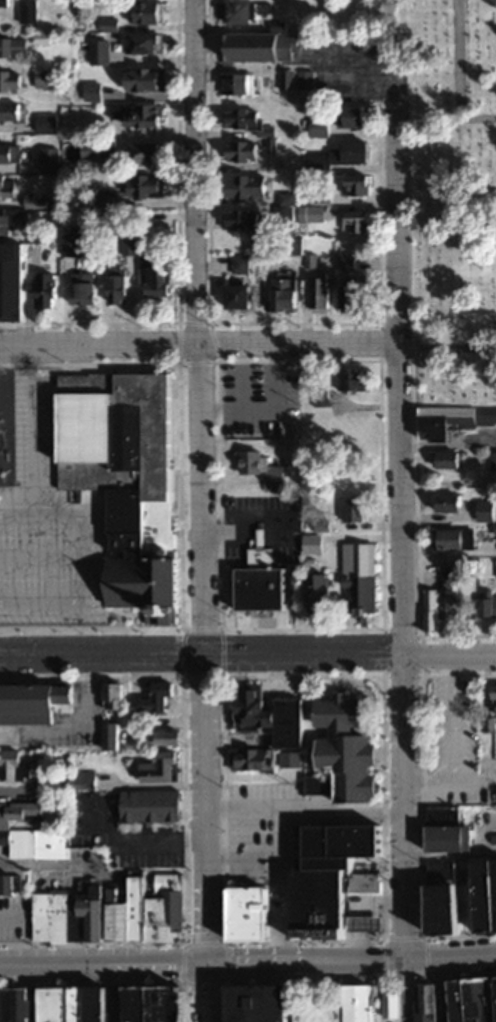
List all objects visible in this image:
building: (6, 2)
building: (29, 10)
building: (150, 11)
building: (239, 11)
building: (108, 24)
building: (144, 43)
building: (261, 45)
building: (14, 46)
building: (97, 52)
building: (45, 77)
building: (147, 79)
building: (286, 79)
building: (305, 79)
building: (12, 80)
building: (235, 83)
building: (91, 91)
building: (12, 110)
building: (138, 113)
building: (352, 115)
building: (250, 122)
building: (45, 123)
building: (318, 127)
building: (89, 149)
building: (243, 150)
building: (149, 151)
building: (10, 153)
building: (340, 155)
building: (35, 167)
building: (7, 184)
building: (248, 184)
building: (357, 184)
building: (147, 185)
building: (313, 196)
building: (36, 199)
park: (451, 200)
building: (286, 210)
building: (310, 213)
building: (244, 218)
building: (7, 221)
building: (356, 221)
building: (127, 237)
building: (71, 244)
building: (292, 245)
building: (147, 251)
building: (310, 259)
building: (346, 260)
building: (240, 263)
building: (159, 280)
building: (120, 288)
building: (44, 289)
building: (320, 291)
building: (285, 292)
building: (84, 293)
building: (240, 295)
building: (351, 296)
road: (198, 341)
building: (353, 378)
building: (452, 418)
building: (360, 430)
building: (451, 458)
building: (493, 460)
building: (262, 467)
building: (126, 477)
road: (200, 481)
building: (453, 501)
building: (357, 508)
building: (487, 508)
building: (495, 527)
building: (452, 537)
building: (313, 542)
road: (399, 560)
building: (361, 577)
building: (265, 587)
building: (321, 591)
building: (488, 598)
building: (440, 599)
road: (248, 652)
building: (495, 693)
building: (36, 698)
building: (161, 698)
building: (253, 709)
building: (114, 715)
building: (289, 720)
building: (170, 737)
building: (351, 744)
building: (267, 758)
building: (14, 764)
building: (163, 766)
building: (153, 804)
road: (302, 810)
building: (448, 830)
building: (30, 831)
building: (332, 880)
building: (9, 883)
road: (284, 886)
building: (462, 895)
building: (115, 910)
building: (254, 913)
road: (248, 962)
road: (209, 992)
building: (475, 999)
building: (363, 1002)
building: (133, 1003)
building: (16, 1004)
building: (59, 1004)
building: (282, 1006)

